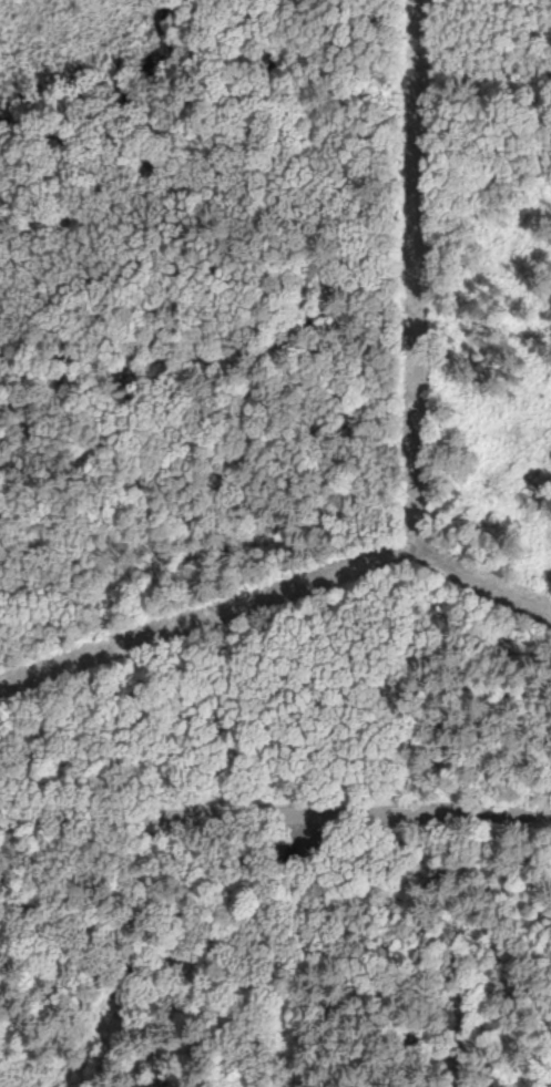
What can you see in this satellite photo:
road: (275, 819)

